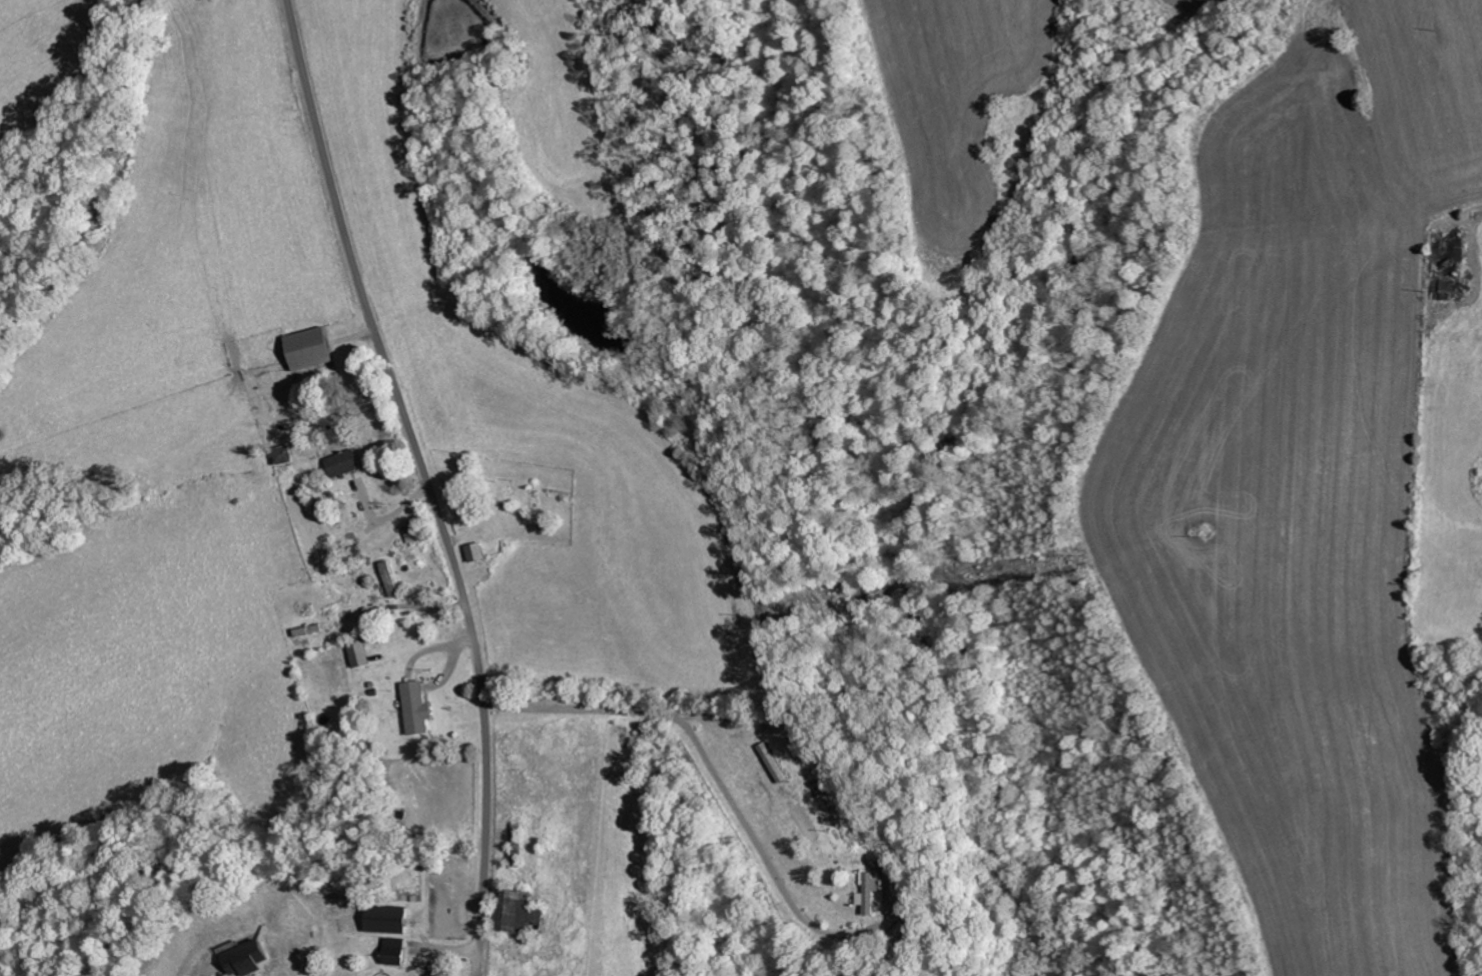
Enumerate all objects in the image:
building: (307, 348)
building: (281, 455)
building: (341, 462)
road: (427, 481)
building: (474, 551)
building: (388, 577)
building: (357, 653)
building: (415, 708)
building: (868, 891)
building: (516, 909)
building: (383, 917)
building: (390, 949)
building: (244, 956)

